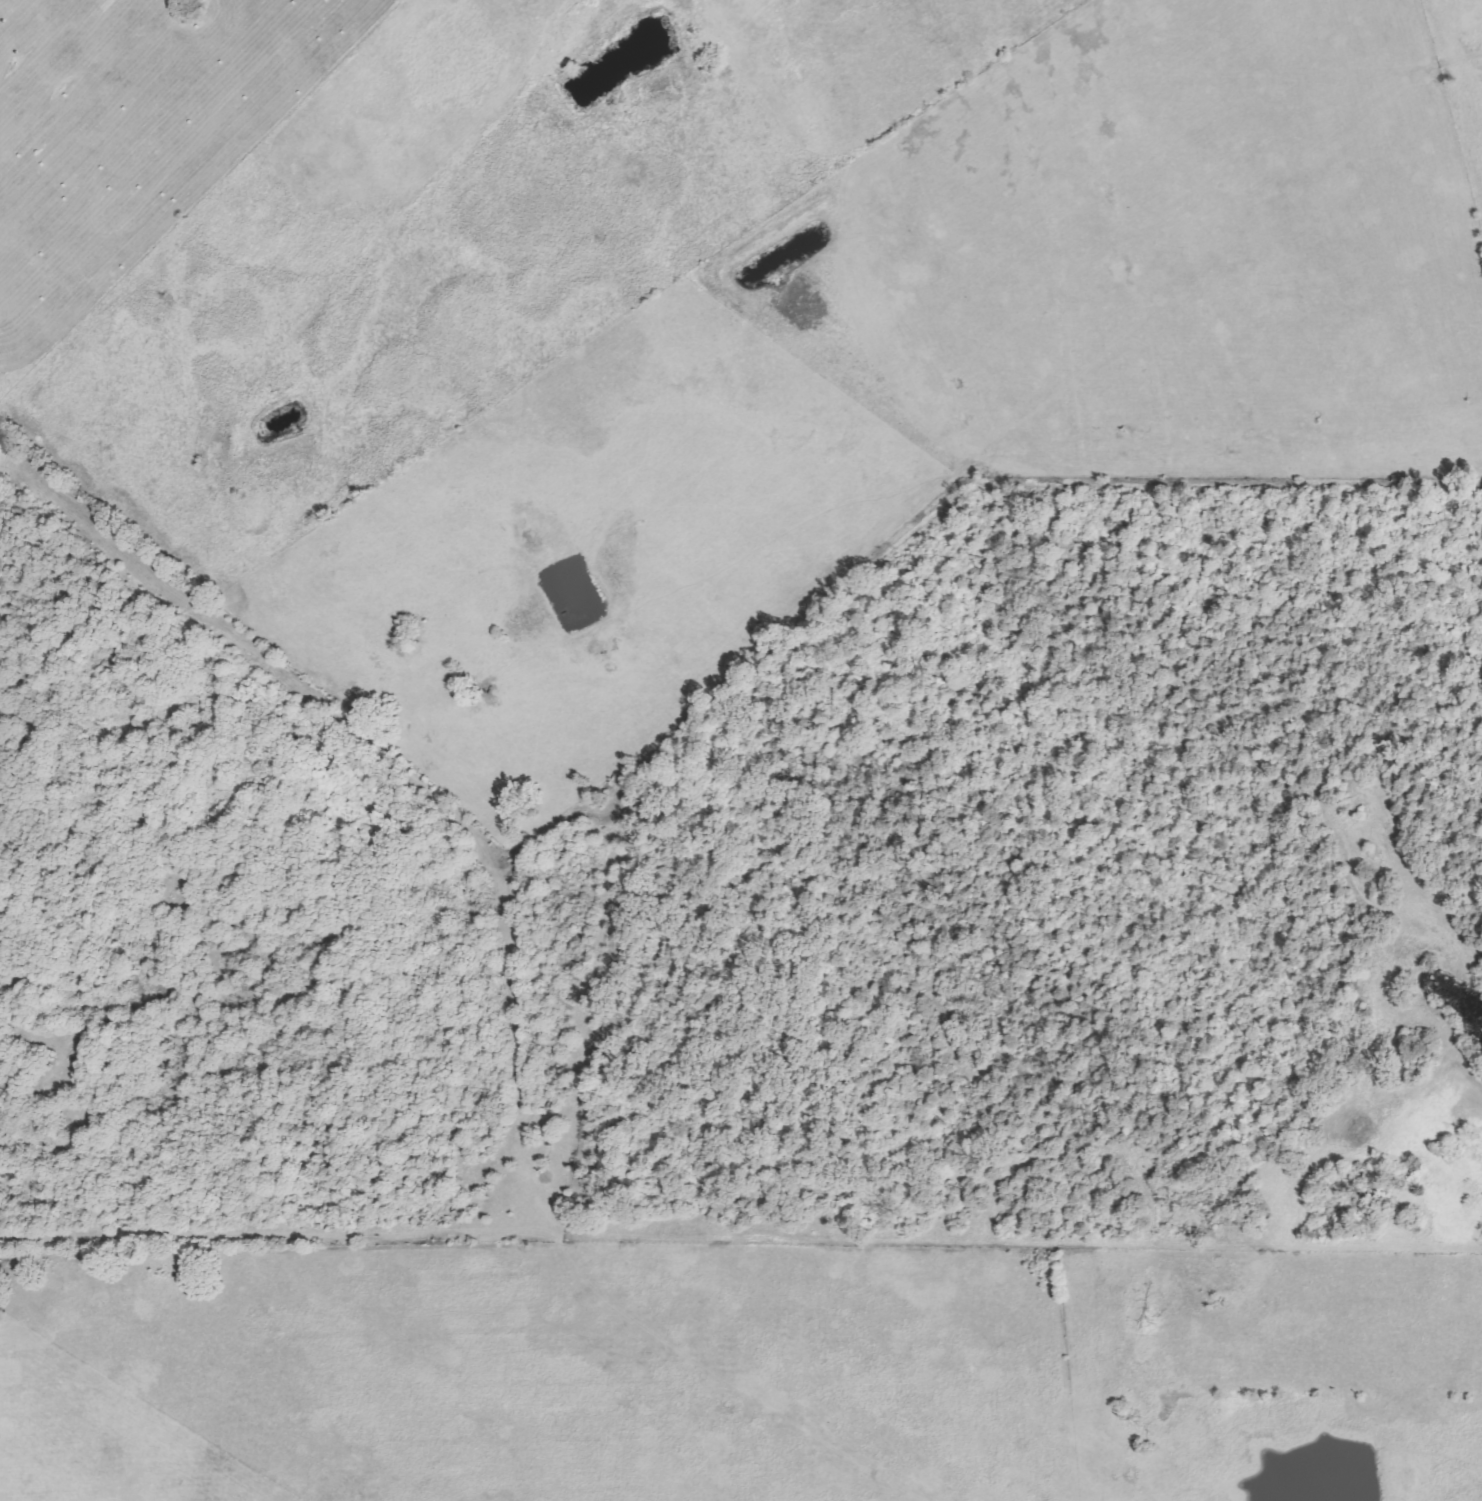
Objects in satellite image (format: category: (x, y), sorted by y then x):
road: (1455, 391)

